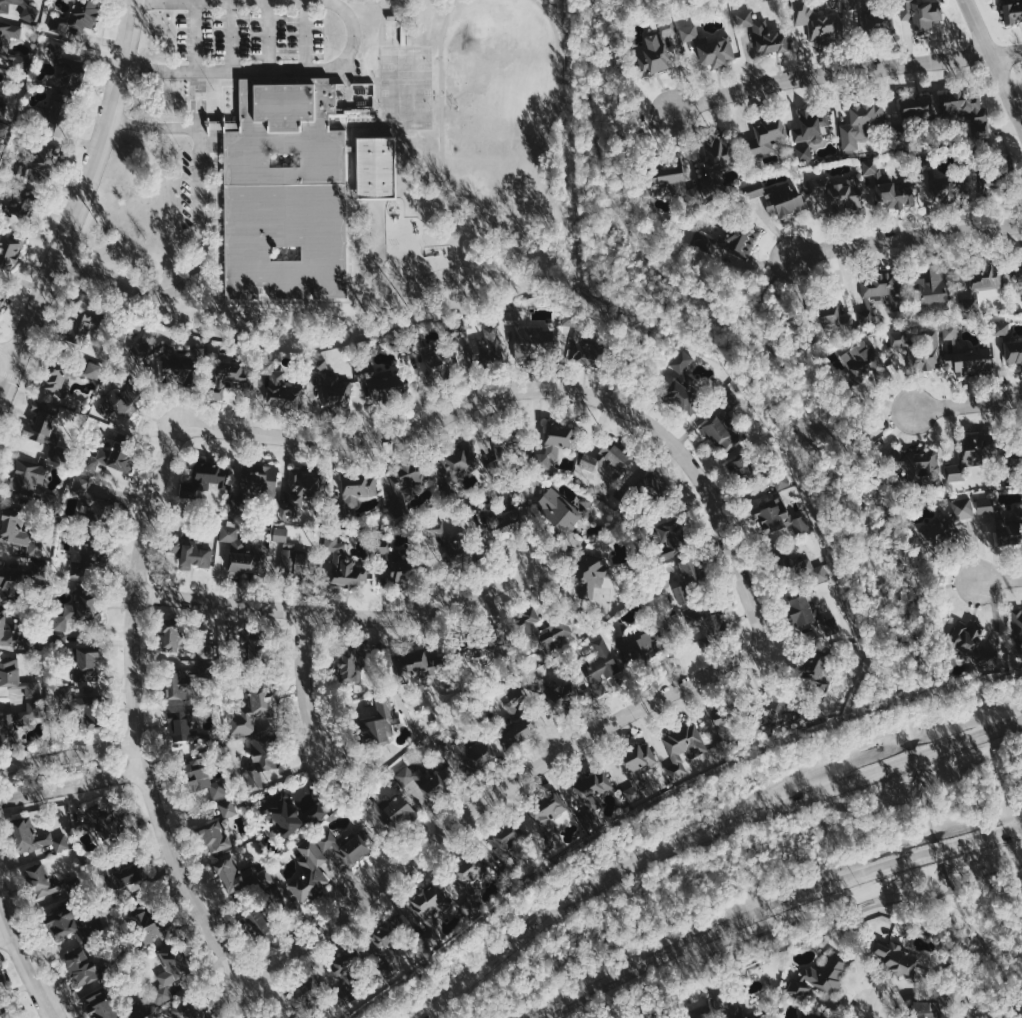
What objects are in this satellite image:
building: (31, 11)
building: (1011, 11)
building: (863, 13)
building: (921, 13)
building: (83, 15)
road: (380, 21)
building: (818, 22)
building: (668, 27)
building: (690, 32)
parking lot: (250, 34)
building: (763, 34)
road: (197, 35)
road: (233, 35)
road: (271, 35)
road: (306, 35)
road: (353, 40)
building: (5, 45)
building: (716, 50)
building: (653, 55)
building: (68, 56)
road: (993, 62)
road: (846, 72)
building: (57, 103)
parking lot: (198, 104)
building: (916, 108)
building: (3, 110)
building: (967, 111)
road: (354, 123)
building: (861, 124)
building: (811, 125)
road: (635, 130)
building: (54, 131)
building: (768, 136)
building: (718, 152)
building: (804, 153)
building: (42, 162)
building: (375, 166)
building: (666, 173)
building: (709, 185)
parking lot: (187, 187)
building: (889, 187)
building: (285, 191)
building: (839, 192)
building: (778, 198)
building: (16, 205)
road: (76, 205)
road: (208, 213)
road: (495, 223)
road: (201, 231)
road: (519, 232)
road: (907, 238)
building: (742, 239)
building: (704, 241)
building: (9, 251)
road: (220, 262)
building: (1019, 269)
road: (209, 279)
building: (981, 283)
building: (881, 286)
road: (765, 288)
building: (934, 289)
building: (1, 298)
building: (874, 300)
building: (827, 321)
building: (1002, 328)
building: (81, 329)
building: (534, 341)
road: (639, 342)
building: (487, 347)
building: (920, 349)
building: (585, 350)
road: (8, 352)
building: (158, 352)
building: (1013, 352)
road: (775, 354)
building: (965, 354)
building: (864, 362)
building: (439, 363)
building: (94, 369)
building: (56, 382)
building: (680, 383)
building: (281, 386)
building: (330, 389)
building: (382, 389)
road: (542, 393)
building: (117, 402)
road: (968, 403)
road: (875, 422)
building: (43, 423)
building: (719, 435)
building: (554, 445)
building: (972, 456)
building: (111, 457)
building: (460, 460)
building: (605, 460)
building: (743, 465)
building: (917, 467)
building: (409, 475)
building: (28, 481)
building: (260, 481)
building: (652, 485)
building: (81, 486)
building: (358, 489)
building: (303, 492)
building: (986, 506)
building: (559, 510)
building: (98, 511)
building: (593, 513)
building: (776, 515)
building: (1008, 523)
building: (948, 524)
building: (20, 532)
building: (281, 534)
building: (436, 535)
building: (668, 538)
building: (240, 551)
building: (190, 553)
building: (292, 559)
building: (344, 565)
building: (86, 567)
building: (792, 567)
building: (38, 572)
building: (688, 572)
building: (594, 579)
road: (1000, 579)
building: (6, 580)
road: (939, 586)
building: (683, 594)
building: (75, 613)
building: (809, 613)
road: (333, 615)
building: (712, 619)
building: (541, 631)
building: (8, 633)
building: (171, 633)
building: (60, 638)
building: (637, 644)
building: (481, 645)
building: (972, 647)
building: (412, 661)
building: (602, 663)
building: (84, 664)
building: (350, 664)
building: (815, 671)
building: (17, 678)
building: (177, 685)
road: (304, 685)
building: (556, 690)
building: (82, 706)
building: (779, 709)
road: (964, 709)
building: (253, 711)
road: (133, 713)
building: (381, 720)
building: (517, 720)
building: (17, 722)
building: (179, 725)
building: (730, 728)
building: (683, 748)
road: (66, 753)
building: (481, 753)
building: (260, 762)
building: (636, 769)
building: (201, 778)
building: (421, 784)
road: (70, 787)
road: (491, 792)
building: (208, 794)
building: (591, 795)
road: (926, 805)
building: (229, 808)
building: (398, 809)
building: (317, 810)
building: (284, 815)
building: (545, 819)
building: (106, 821)
road: (702, 834)
building: (216, 837)
building: (35, 838)
road: (639, 847)
building: (344, 848)
building: (506, 849)
building: (309, 871)
building: (126, 872)
building: (243, 876)
building: (42, 882)
building: (469, 883)
road: (773, 906)
building: (430, 910)
road: (797, 920)
building: (64, 923)
building: (144, 925)
building: (258, 926)
road: (3, 930)
building: (387, 940)
road: (981, 941)
road: (23, 961)
building: (901, 962)
building: (82, 967)
building: (827, 971)
building: (170, 972)
building: (345, 973)
building: (2, 978)
building: (301, 996)
building: (100, 1005)
building: (190, 1008)
building: (926, 1010)
building: (739, 1011)
building: (813, 1013)
road: (871, 1014)
building: (695, 1017)

